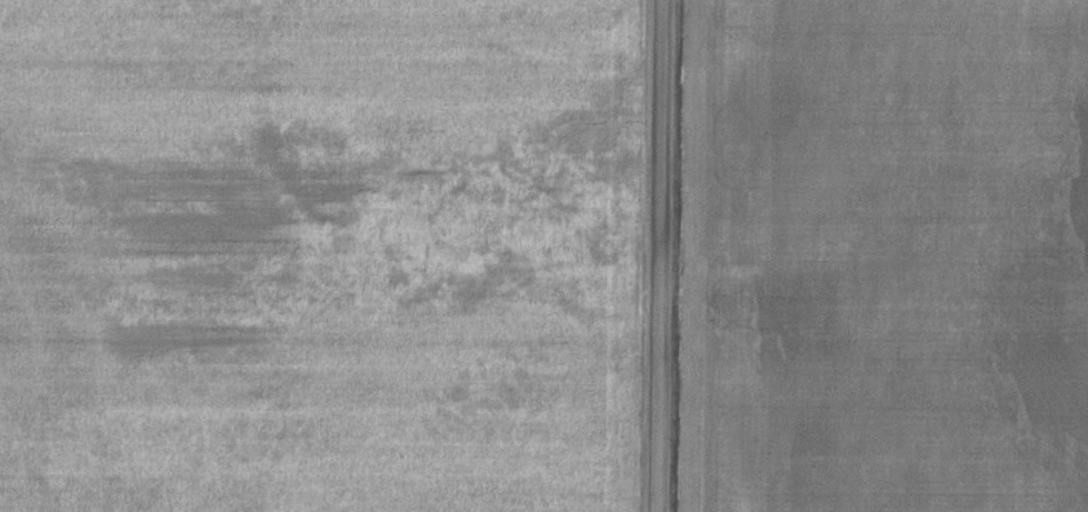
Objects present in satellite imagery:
road: (671, 255)

